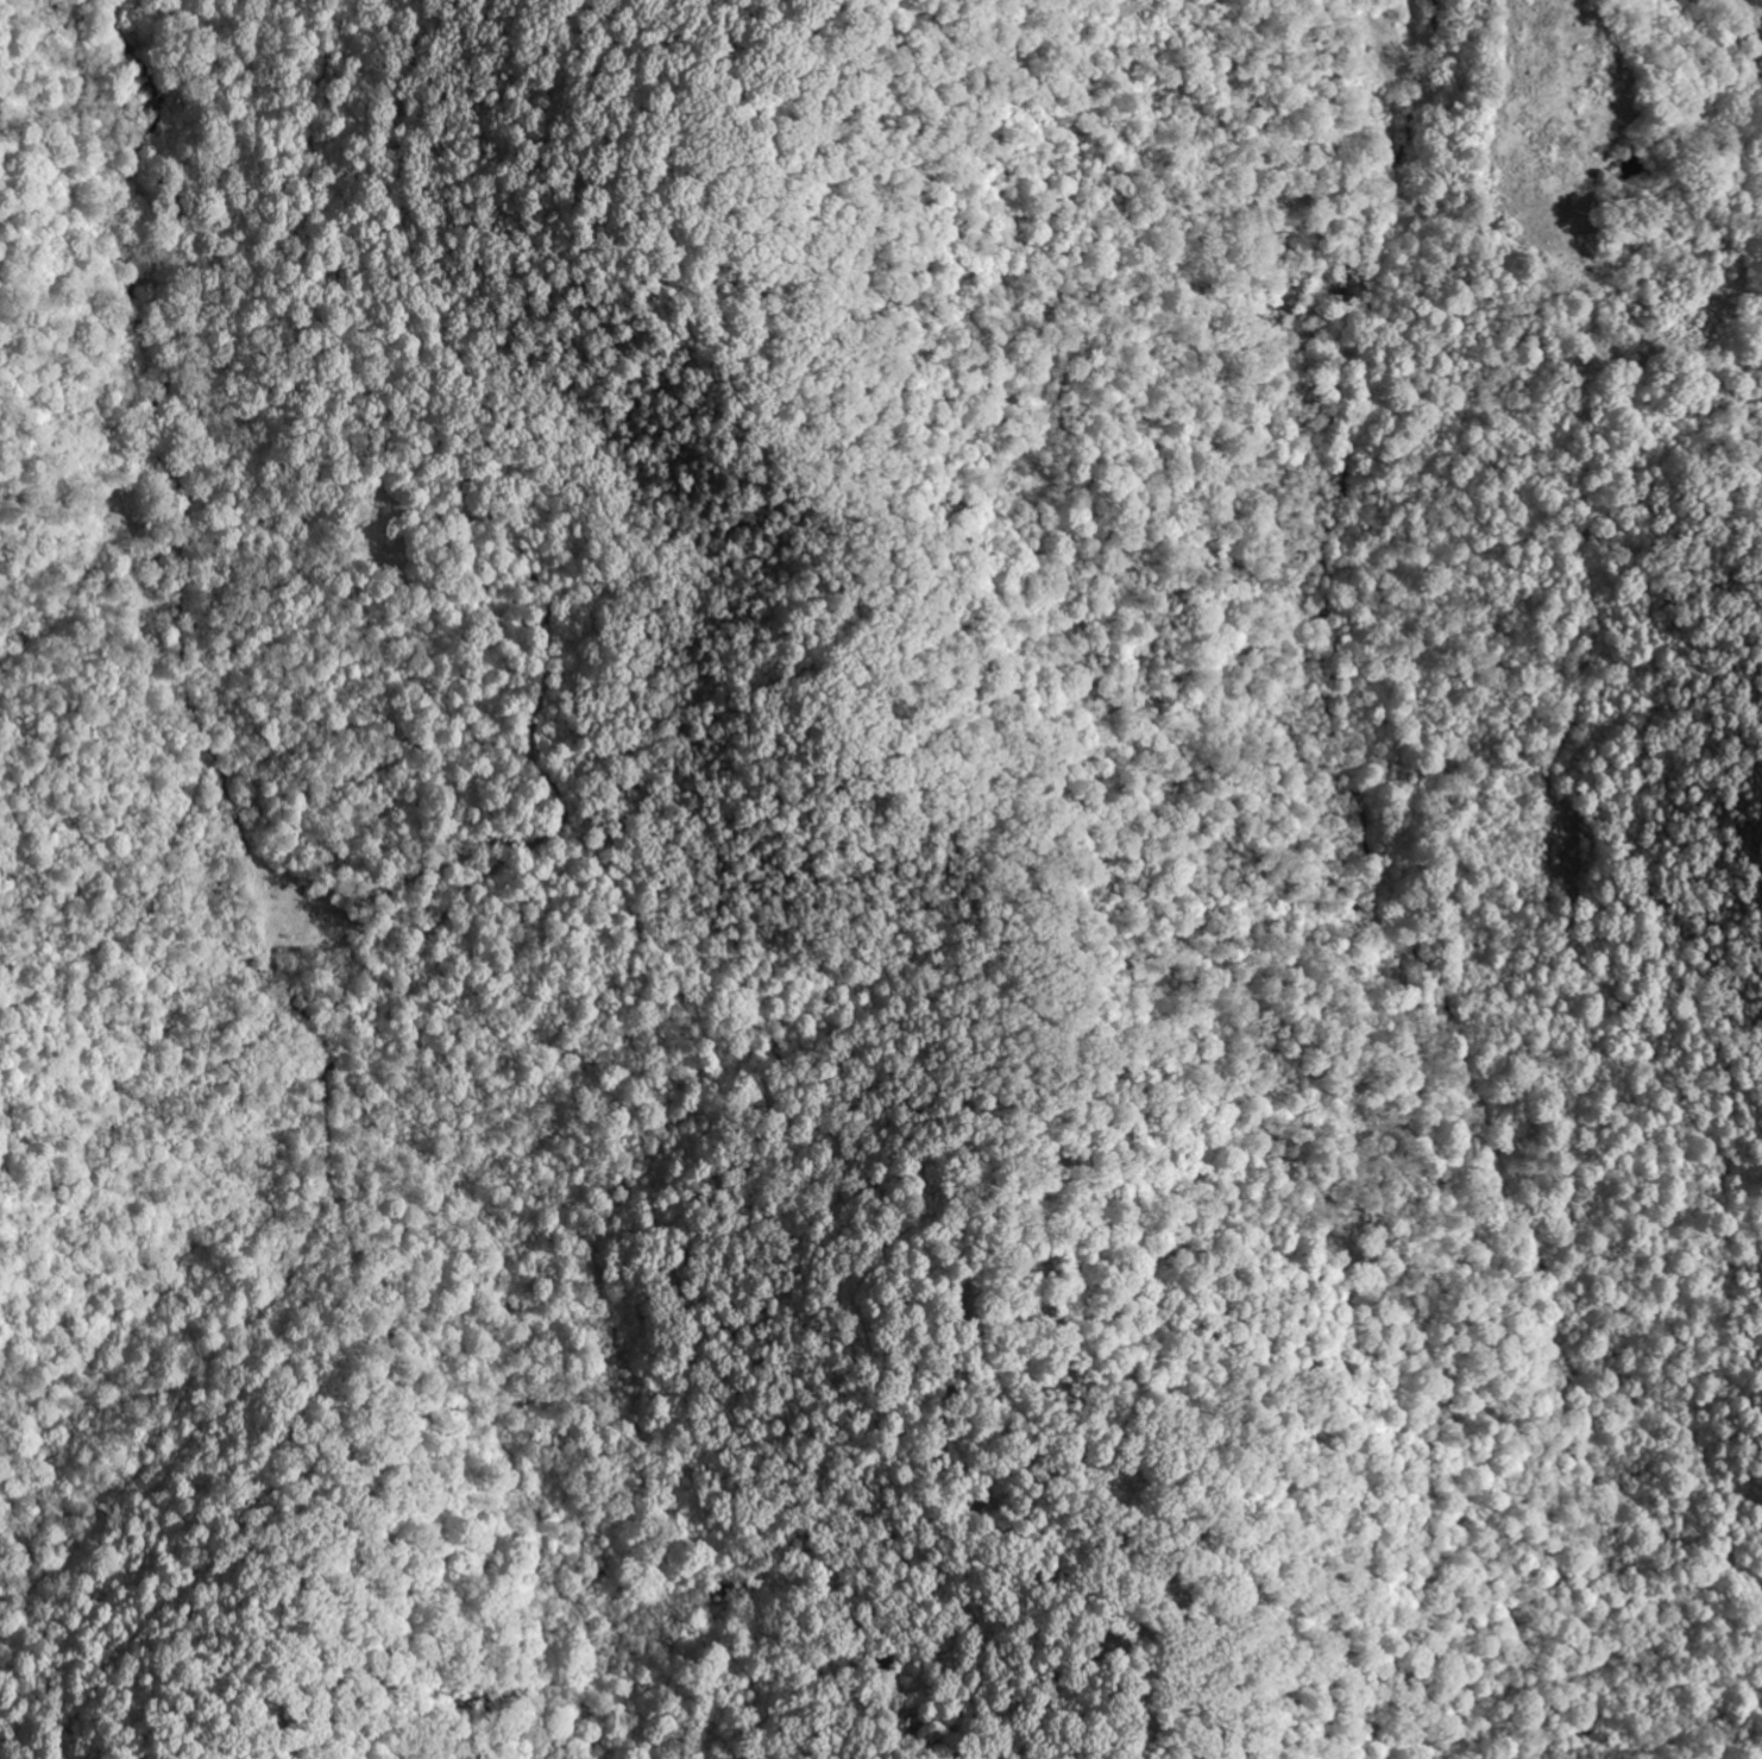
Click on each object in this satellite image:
road: (1741, 29)

